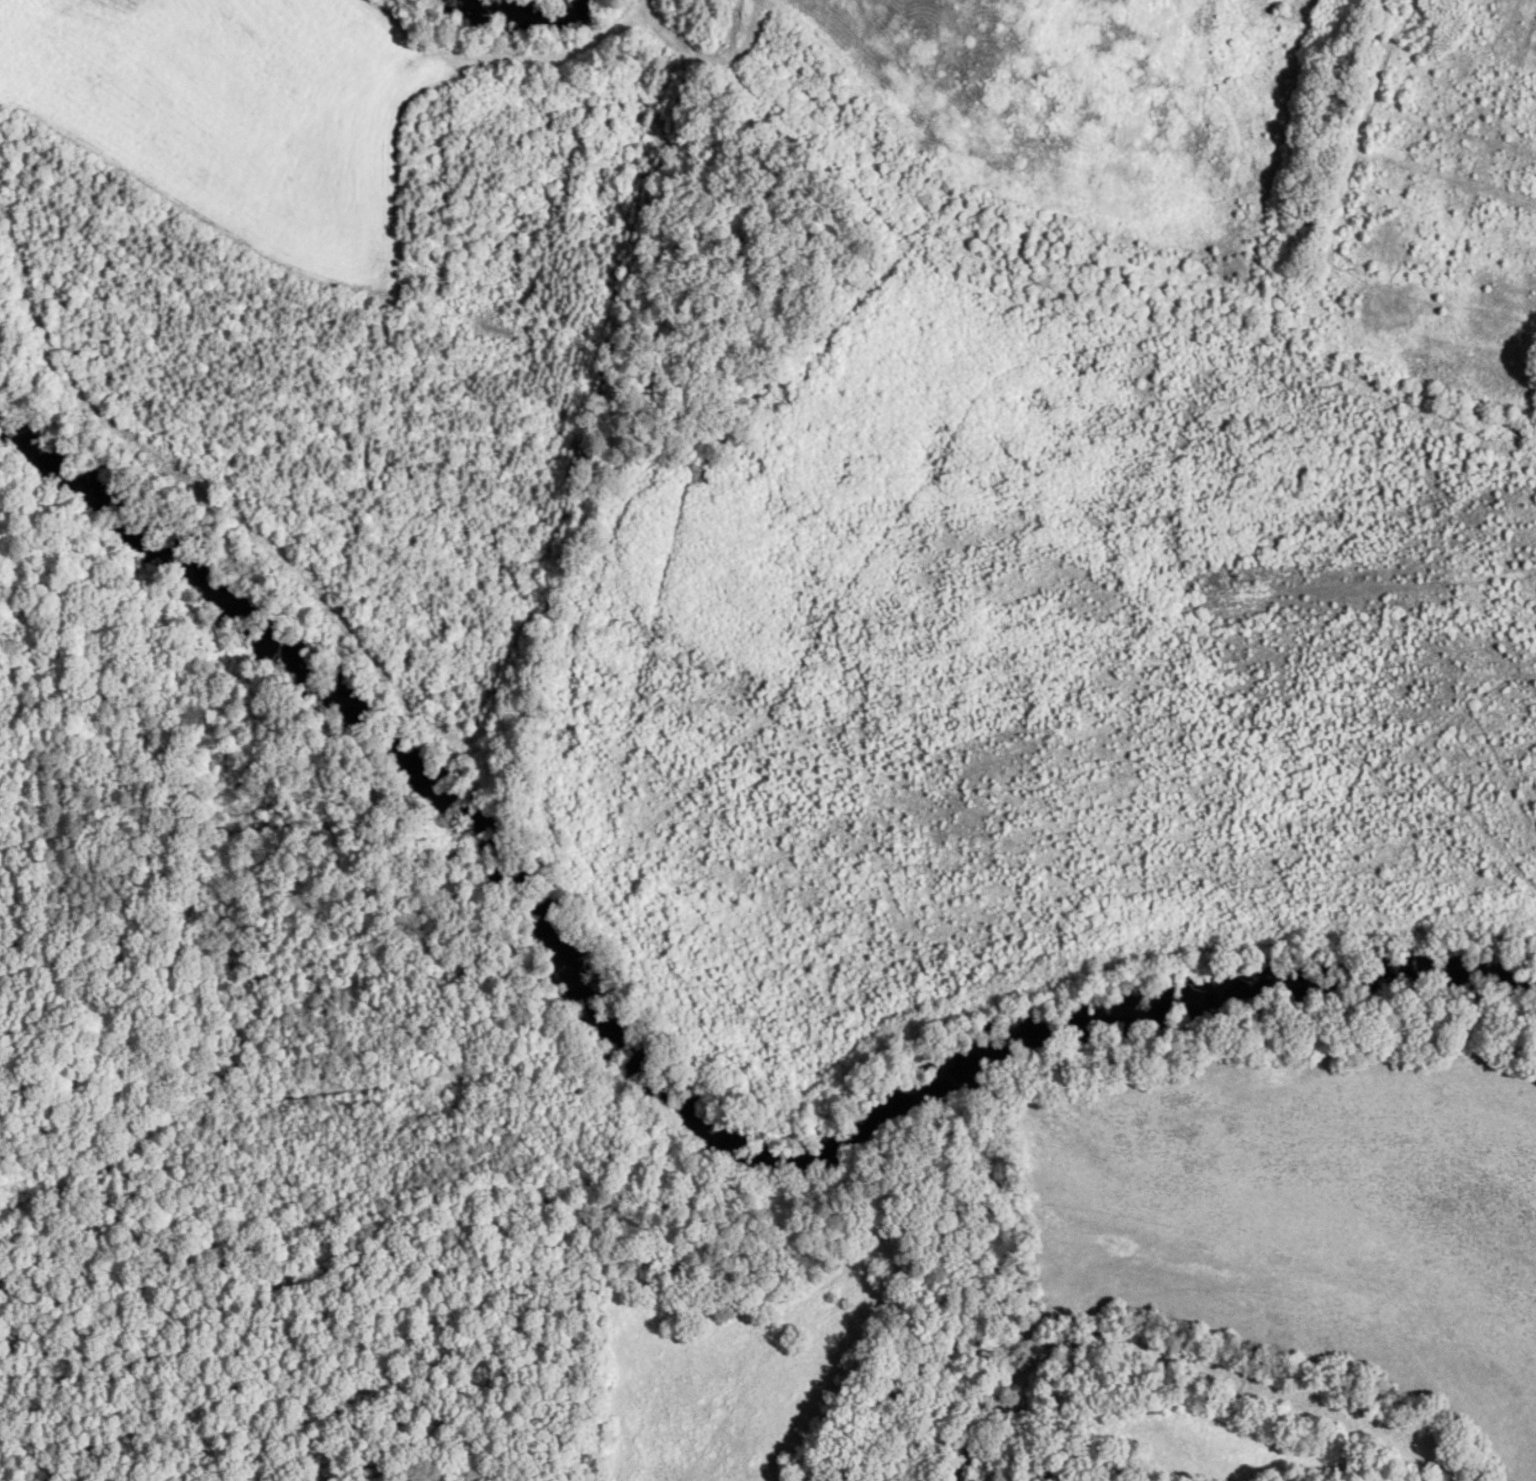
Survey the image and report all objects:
river: (529, 3)
river: (482, 872)
river: (1246, 1019)
road: (228, 1105)

